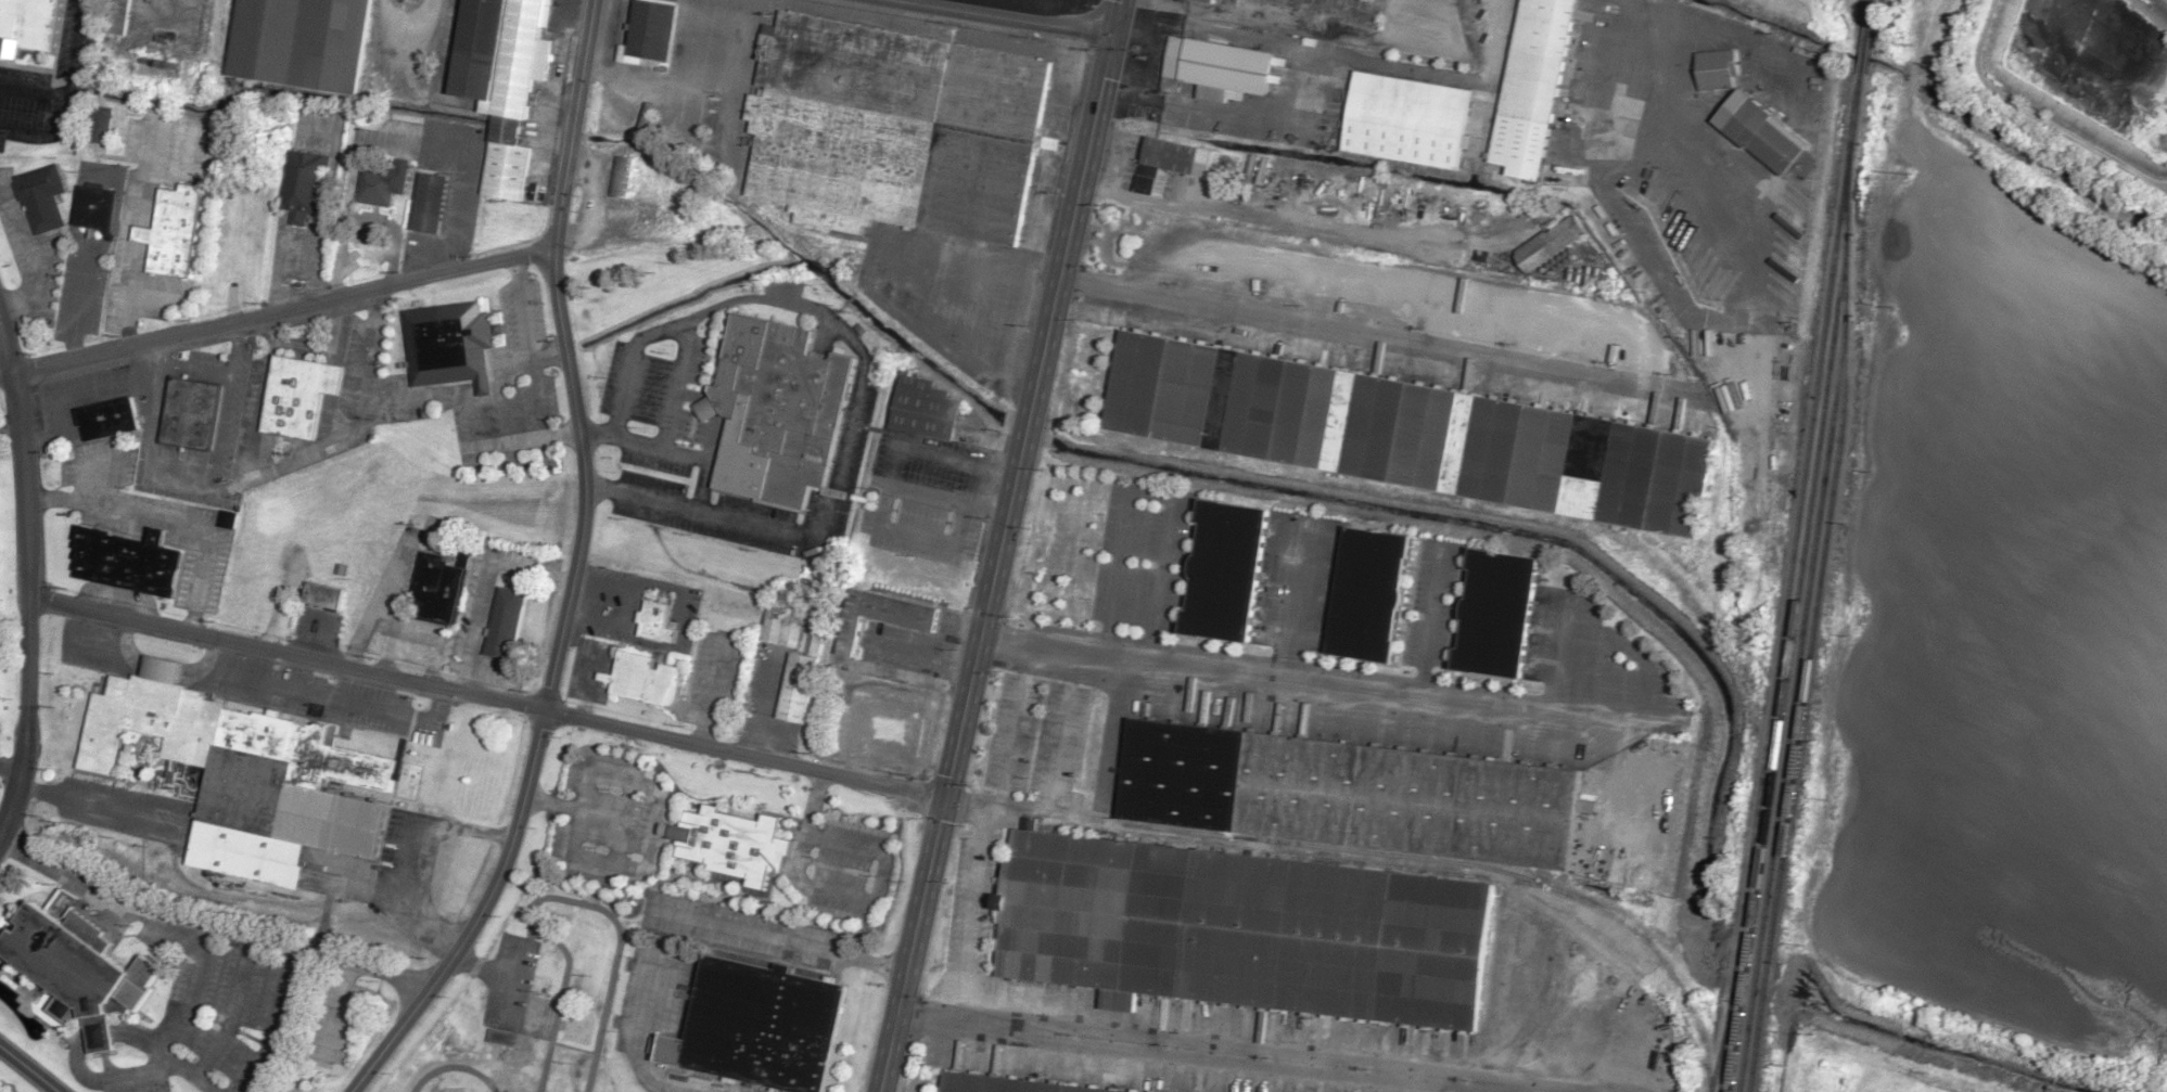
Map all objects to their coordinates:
building: (1207, 0)
road: (1025, 13)
building: (116, 17)
building: (34, 25)
building: (650, 29)
building: (299, 43)
road: (1304, 56)
building: (1218, 68)
building: (1715, 69)
building: (502, 79)
building: (1531, 87)
road: (34, 91)
road: (67, 98)
building: (913, 118)
building: (1405, 119)
building: (100, 125)
building: (1768, 141)
building: (1164, 163)
building: (620, 176)
building: (309, 185)
building: (377, 185)
building: (44, 198)
building: (428, 203)
road: (327, 204)
building: (101, 208)
road: (140, 208)
building: (179, 233)
building: (1548, 243)
road: (35, 257)
road: (278, 269)
road: (407, 285)
road: (774, 300)
road: (77, 304)
road: (1373, 336)
building: (450, 344)
road: (202, 371)
road: (675, 382)
building: (298, 395)
road: (81, 396)
building: (923, 408)
building: (776, 412)
building: (196, 414)
building: (113, 420)
building: (1407, 433)
road: (11, 435)
road: (197, 476)
road: (97, 484)
road: (830, 489)
road: (1149, 491)
road: (638, 496)
road: (691, 508)
building: (228, 519)
road: (171, 521)
road: (998, 545)
railway: (1792, 545)
building: (136, 561)
building: (1225, 570)
road: (27, 582)
building: (870, 583)
building: (438, 587)
building: (321, 595)
building: (1368, 595)
road: (1292, 601)
road: (633, 609)
building: (1496, 614)
railway: (1813, 616)
building: (505, 622)
road: (1427, 625)
road: (129, 640)
road: (13, 642)
building: (1, 652)
road: (213, 658)
building: (794, 659)
road: (1557, 660)
building: (646, 679)
road: (1309, 680)
road: (234, 681)
road: (322, 681)
road: (547, 696)
road: (485, 697)
building: (0, 710)
road: (416, 719)
road: (10, 763)
building: (253, 775)
road: (102, 807)
road: (429, 823)
building: (732, 844)
railway: (1324, 848)
railway: (1431, 872)
building: (1287, 876)
road: (404, 892)
road: (846, 894)
road: (971, 896)
road: (206, 925)
road: (780, 937)
building: (82, 973)
road: (340, 1009)
road: (238, 1013)
road: (180, 1024)
road: (279, 1025)
building: (761, 1026)
road: (1226, 1053)
railway: (1717, 1058)
road: (77, 1063)
road: (29, 1069)
building: (994, 1087)

